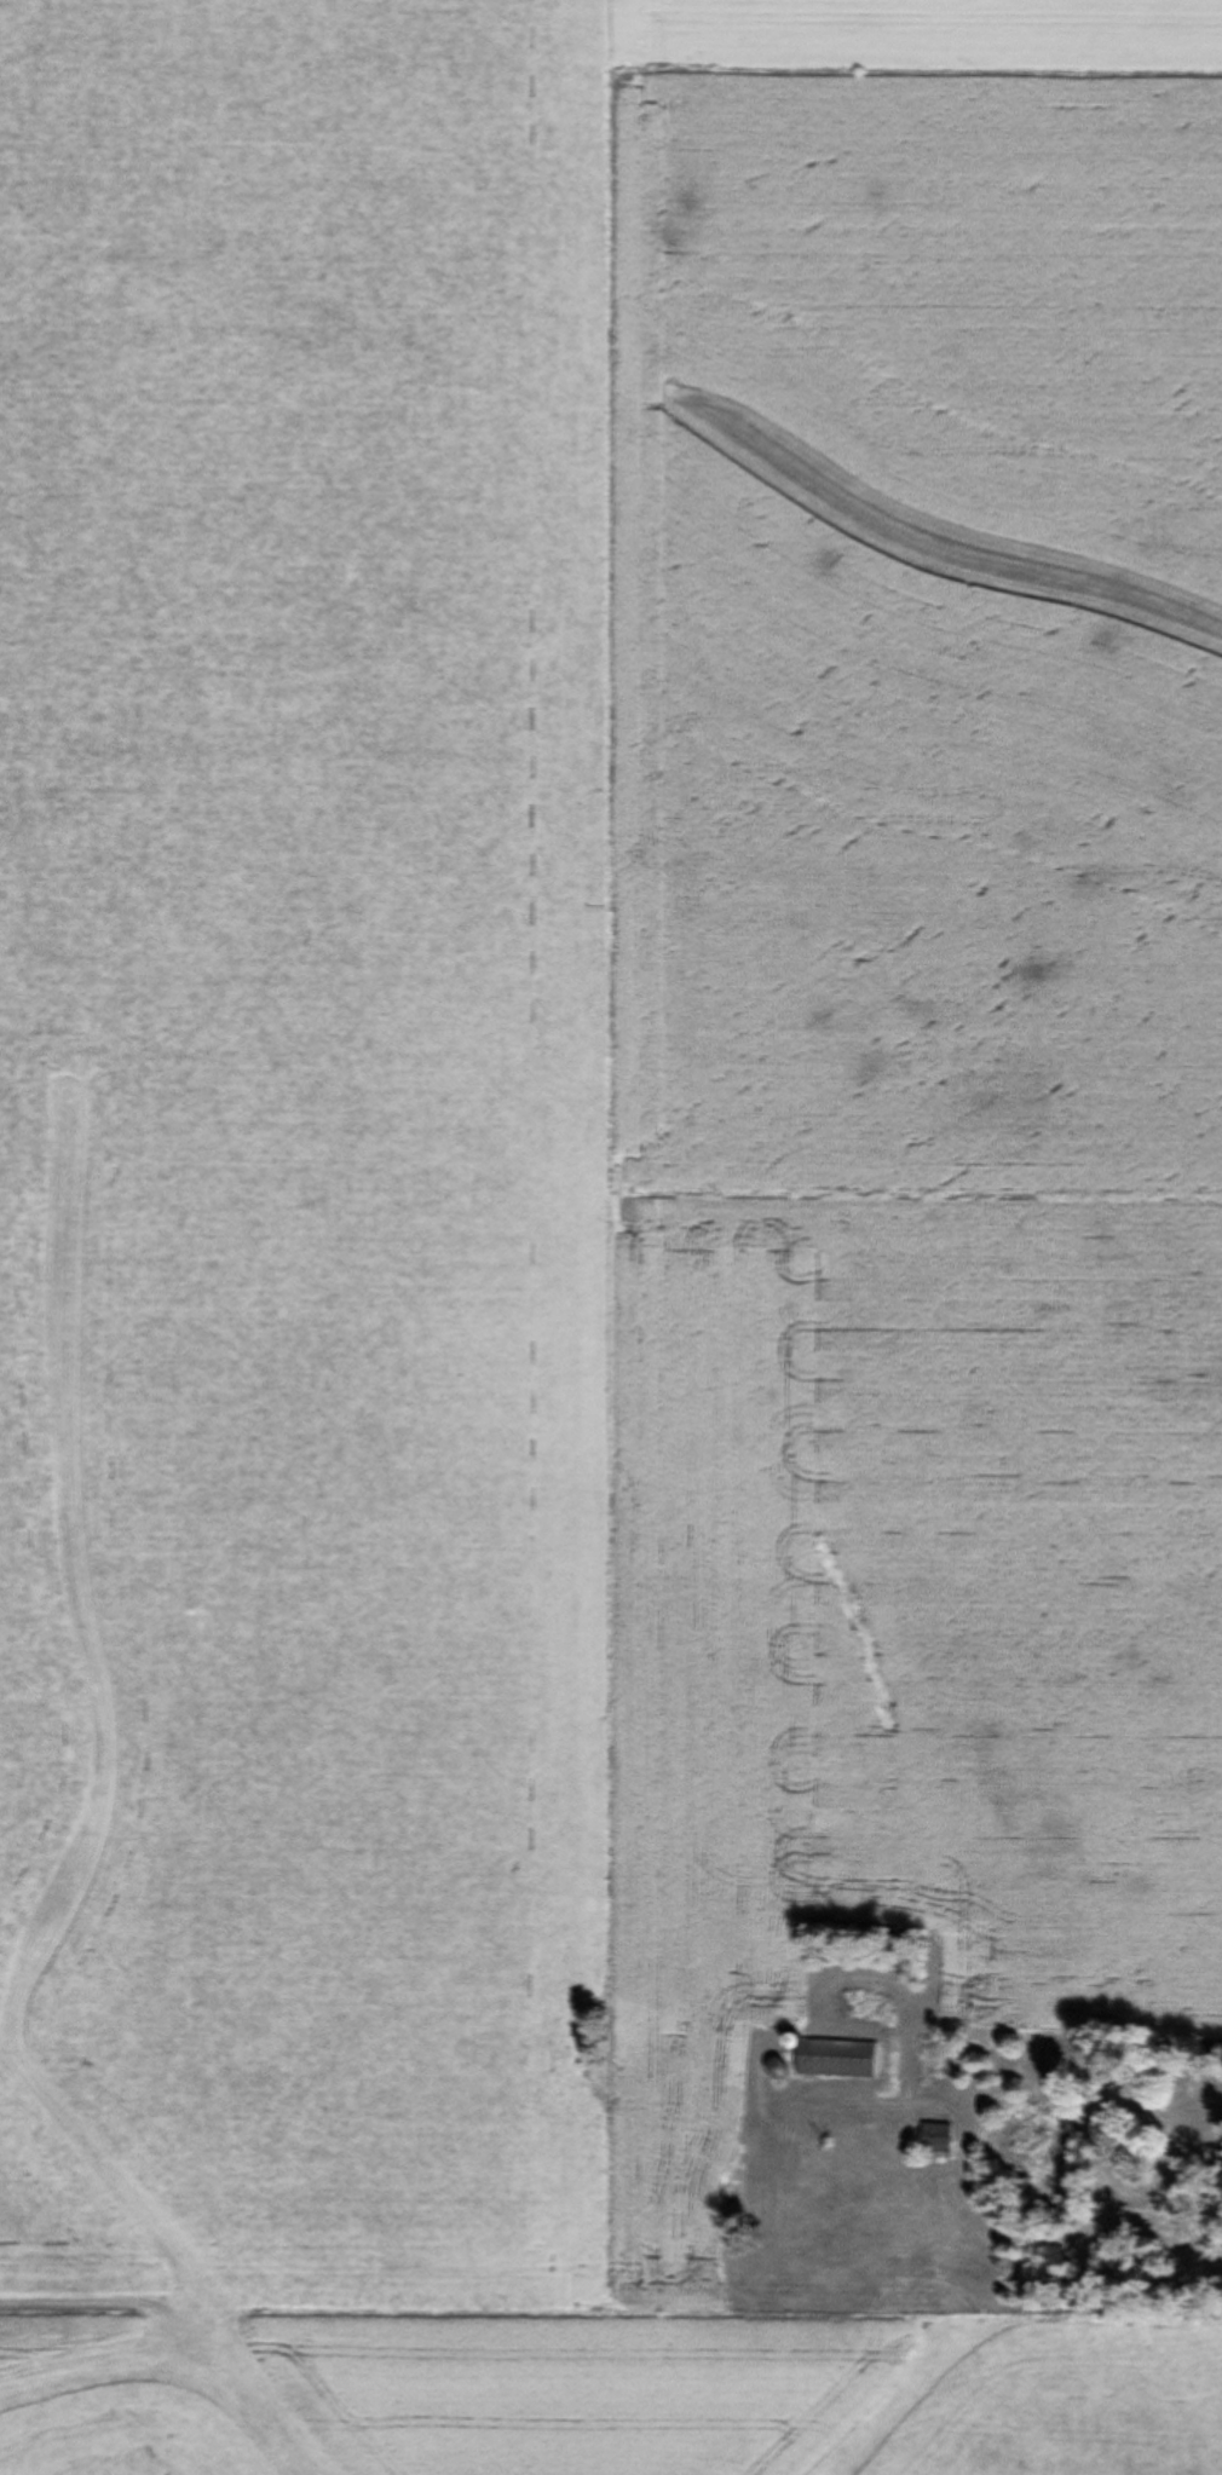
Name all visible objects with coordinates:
building: (836, 2059)
building: (927, 2078)
building: (1033, 2133)
building: (935, 2140)
building: (1160, 2163)
building: (730, 2204)
road: (1093, 2229)

